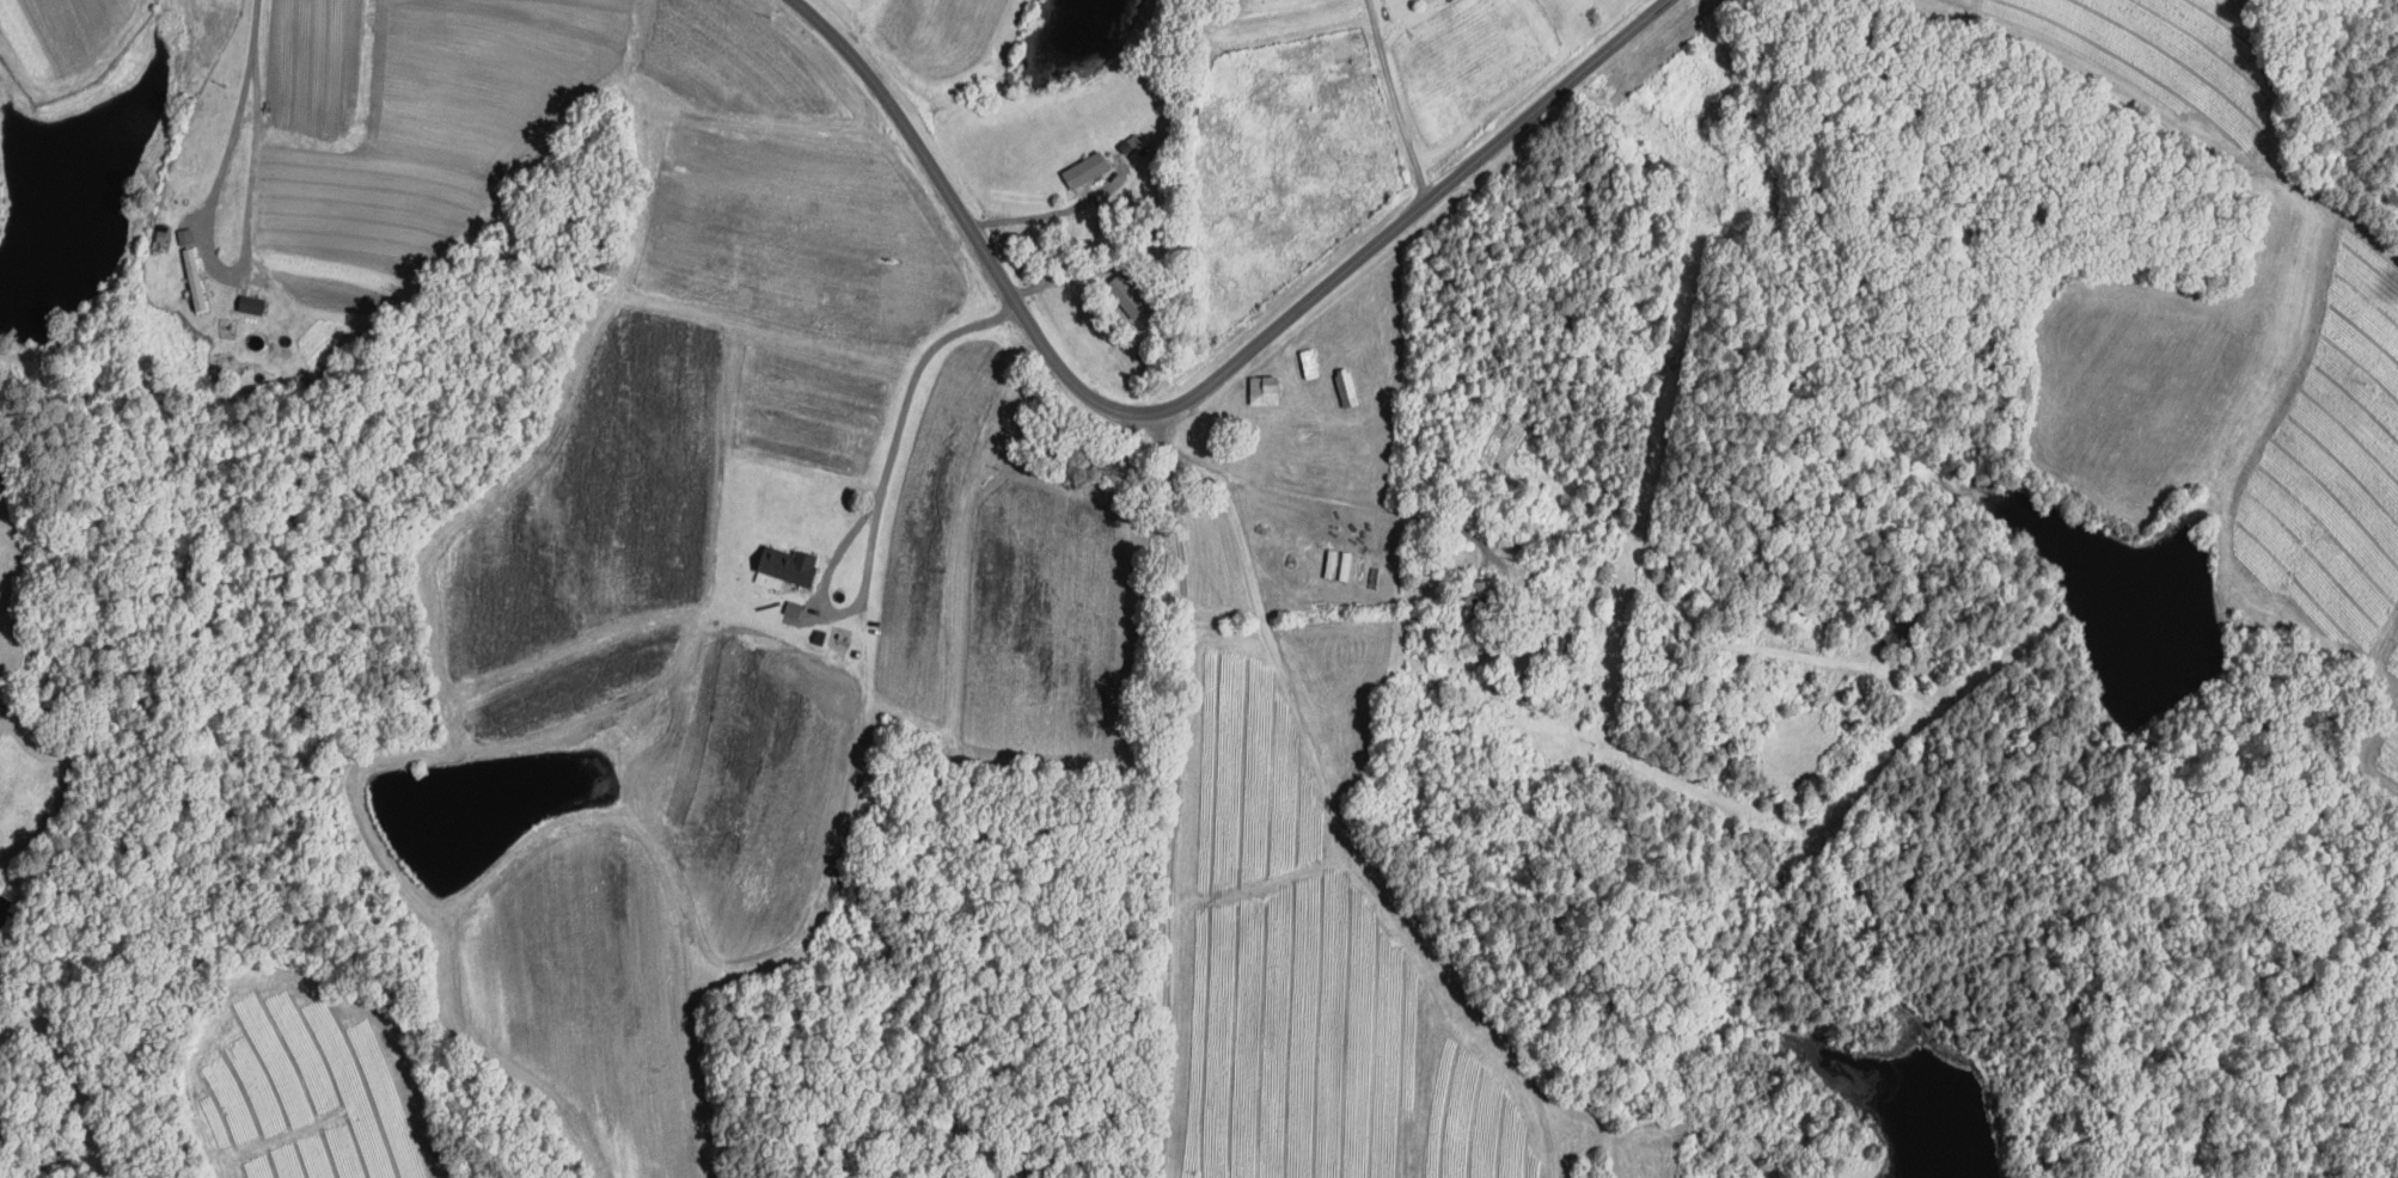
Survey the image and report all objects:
road: (256, 22)
road: (1396, 99)
building: (1088, 168)
road: (1057, 211)
building: (186, 235)
road: (1111, 258)
road: (225, 269)
building: (1130, 294)
building: (255, 303)
building: (1348, 387)
building: (1267, 389)
road: (1197, 392)
road: (879, 508)
road: (1549, 542)
building: (1332, 563)
building: (793, 564)
building: (1347, 565)
building: (1480, 597)
building: (796, 608)
building: (1897, 632)
road: (1340, 766)
road: (1176, 803)
road: (1090, 1162)

